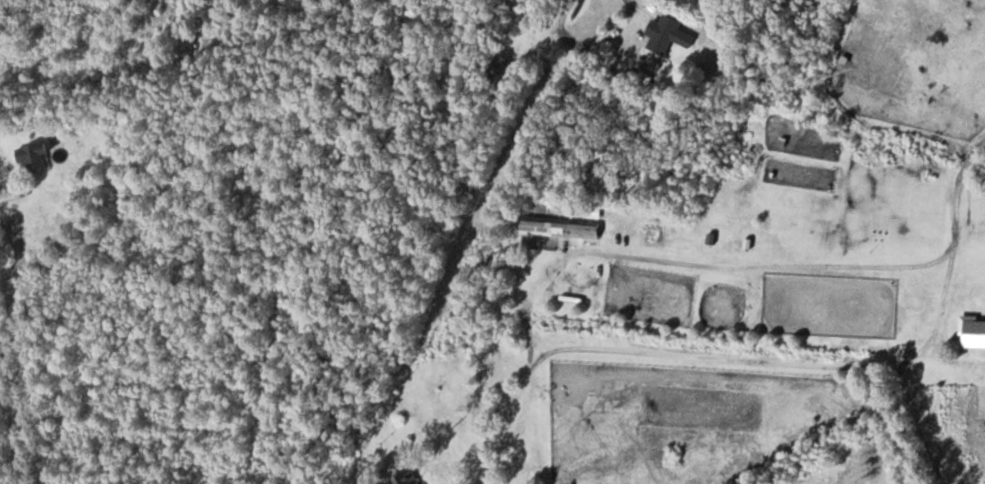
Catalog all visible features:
road: (557, 17)
building: (667, 34)
building: (45, 156)
building: (566, 230)
building: (658, 237)
road: (914, 388)
road: (12, 442)
building: (408, 479)

